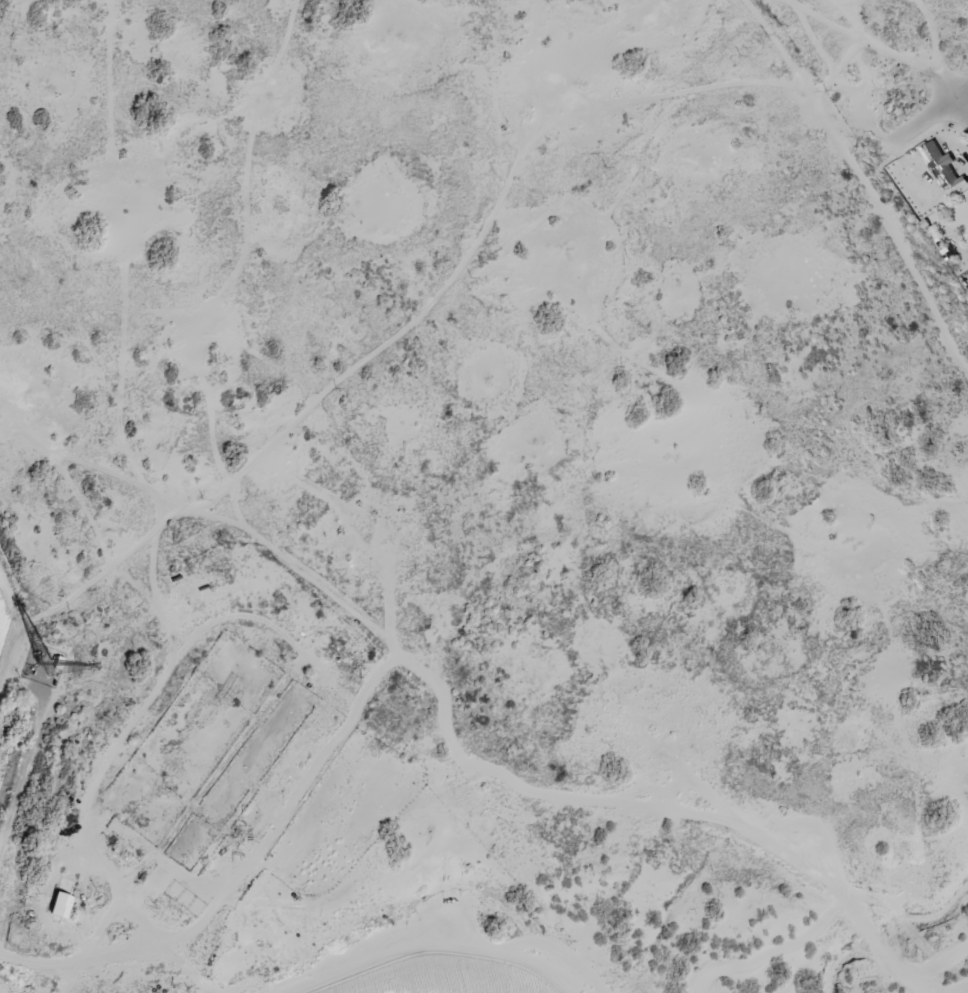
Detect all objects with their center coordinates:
road: (945, 87)
road: (917, 106)
building: (942, 166)
building: (60, 906)

